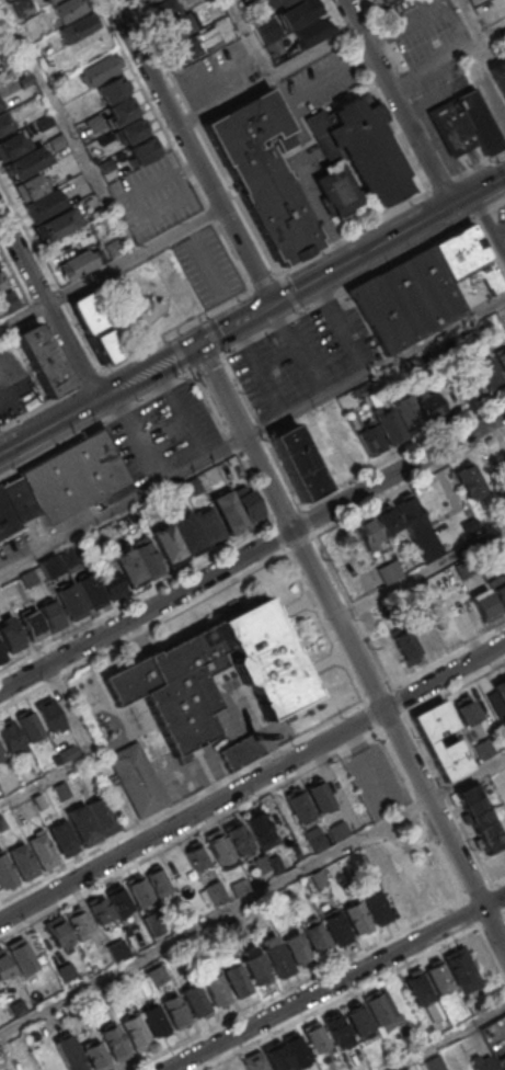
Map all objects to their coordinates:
building: (48, 0)
building: (383, 0)
building: (147, 1)
building: (275, 3)
building: (22, 7)
building: (251, 7)
building: (69, 9)
building: (162, 11)
building: (299, 13)
building: (78, 27)
building: (177, 29)
building: (266, 30)
building: (312, 32)
road: (479, 35)
building: (210, 38)
building: (5, 43)
building: (275, 48)
building: (183, 49)
building: (100, 69)
road: (274, 73)
building: (500, 73)
building: (114, 89)
road: (378, 95)
road: (223, 101)
road: (397, 102)
building: (1, 103)
building: (0, 106)
building: (123, 109)
building: (43, 122)
building: (4, 123)
building: (94, 123)
building: (464, 124)
building: (134, 129)
road: (205, 137)
building: (56, 140)
building: (363, 145)
building: (12, 146)
building: (144, 149)
road: (193, 150)
building: (28, 162)
building: (106, 164)
building: (263, 171)
road: (91, 173)
building: (30, 186)
building: (336, 189)
parking lot: (152, 196)
road: (391, 212)
parking lot: (503, 216)
road: (489, 223)
building: (58, 224)
road: (500, 229)
road: (390, 238)
building: (82, 261)
building: (468, 264)
parking lot: (206, 265)
road: (364, 277)
building: (2, 281)
road: (266, 282)
road: (67, 292)
road: (290, 294)
building: (408, 299)
building: (7, 301)
road: (48, 308)
building: (88, 312)
road: (36, 318)
road: (213, 337)
building: (107, 342)
traffic signals: (198, 344)
road: (182, 353)
parking lot: (305, 357)
building: (41, 358)
road: (127, 358)
building: (502, 358)
road: (207, 364)
building: (489, 372)
road: (138, 377)
building: (468, 382)
building: (431, 405)
building: (408, 413)
road: (96, 424)
building: (390, 425)
road: (262, 431)
road: (253, 439)
building: (370, 440)
building: (348, 444)
building: (299, 463)
building: (72, 476)
building: (469, 479)
building: (194, 485)
building: (248, 503)
building: (13, 505)
building: (229, 512)
building: (411, 515)
building: (387, 519)
road: (307, 520)
building: (209, 525)
building: (369, 532)
building: (187, 534)
road: (280, 535)
road: (300, 542)
building: (168, 544)
building: (501, 547)
building: (434, 548)
road: (251, 550)
road: (210, 555)
building: (68, 556)
building: (149, 558)
building: (49, 565)
building: (464, 567)
building: (130, 568)
road: (420, 569)
building: (388, 571)
building: (28, 577)
building: (111, 583)
building: (363, 584)
building: (498, 589)
building: (90, 590)
building: (70, 601)
building: (485, 604)
building: (50, 615)
building: (32, 625)
road: (325, 625)
road: (144, 628)
building: (424, 633)
building: (11, 636)
building: (404, 641)
road: (351, 647)
building: (1, 654)
building: (153, 680)
road: (455, 686)
building: (500, 687)
building: (466, 708)
road: (371, 714)
building: (49, 715)
road: (410, 722)
building: (28, 725)
building: (10, 736)
building: (429, 742)
building: (483, 748)
building: (1, 751)
building: (241, 751)
building: (69, 752)
road: (89, 754)
building: (136, 778)
parking lot: (376, 778)
road: (252, 781)
building: (60, 789)
building: (319, 795)
building: (38, 800)
road: (182, 800)
building: (299, 805)
building: (102, 815)
building: (278, 816)
building: (479, 817)
building: (2, 823)
building: (82, 824)
building: (260, 829)
building: (337, 830)
road: (188, 833)
building: (61, 836)
building: (238, 838)
building: (315, 839)
building: (219, 849)
building: (42, 850)
building: (295, 851)
road: (441, 854)
building: (196, 856)
building: (22, 860)
building: (260, 864)
building: (274, 865)
building: (5, 870)
road: (497, 879)
building: (158, 880)
building: (415, 884)
building: (239, 887)
building: (138, 888)
building: (216, 890)
road: (252, 893)
building: (395, 896)
building: (117, 899)
building: (99, 908)
building: (377, 908)
building: (356, 917)
building: (77, 920)
building: (230, 923)
building: (335, 927)
building: (56, 930)
building: (127, 931)
building: (315, 938)
building: (116, 948)
building: (296, 948)
building: (21, 955)
building: (276, 959)
building: (3, 965)
building: (255, 969)
building: (461, 969)
building: (65, 970)
building: (158, 974)
building: (438, 978)
building: (236, 979)
road: (334, 982)
road: (295, 983)
building: (417, 988)
building: (215, 990)
road: (337, 998)
building: (194, 1001)
building: (19, 1005)
building: (376, 1006)
building: (174, 1010)
building: (357, 1020)
building: (156, 1021)
building: (336, 1028)
building: (135, 1032)
building: (314, 1036)
road: (441, 1037)
building: (114, 1043)
building: (296, 1048)
building: (69, 1054)
building: (94, 1056)
building: (276, 1057)
building: (253, 1061)
building: (501, 1062)
building: (433, 1063)
building: (482, 1063)
building: (328, 1066)
building: (231, 1067)

